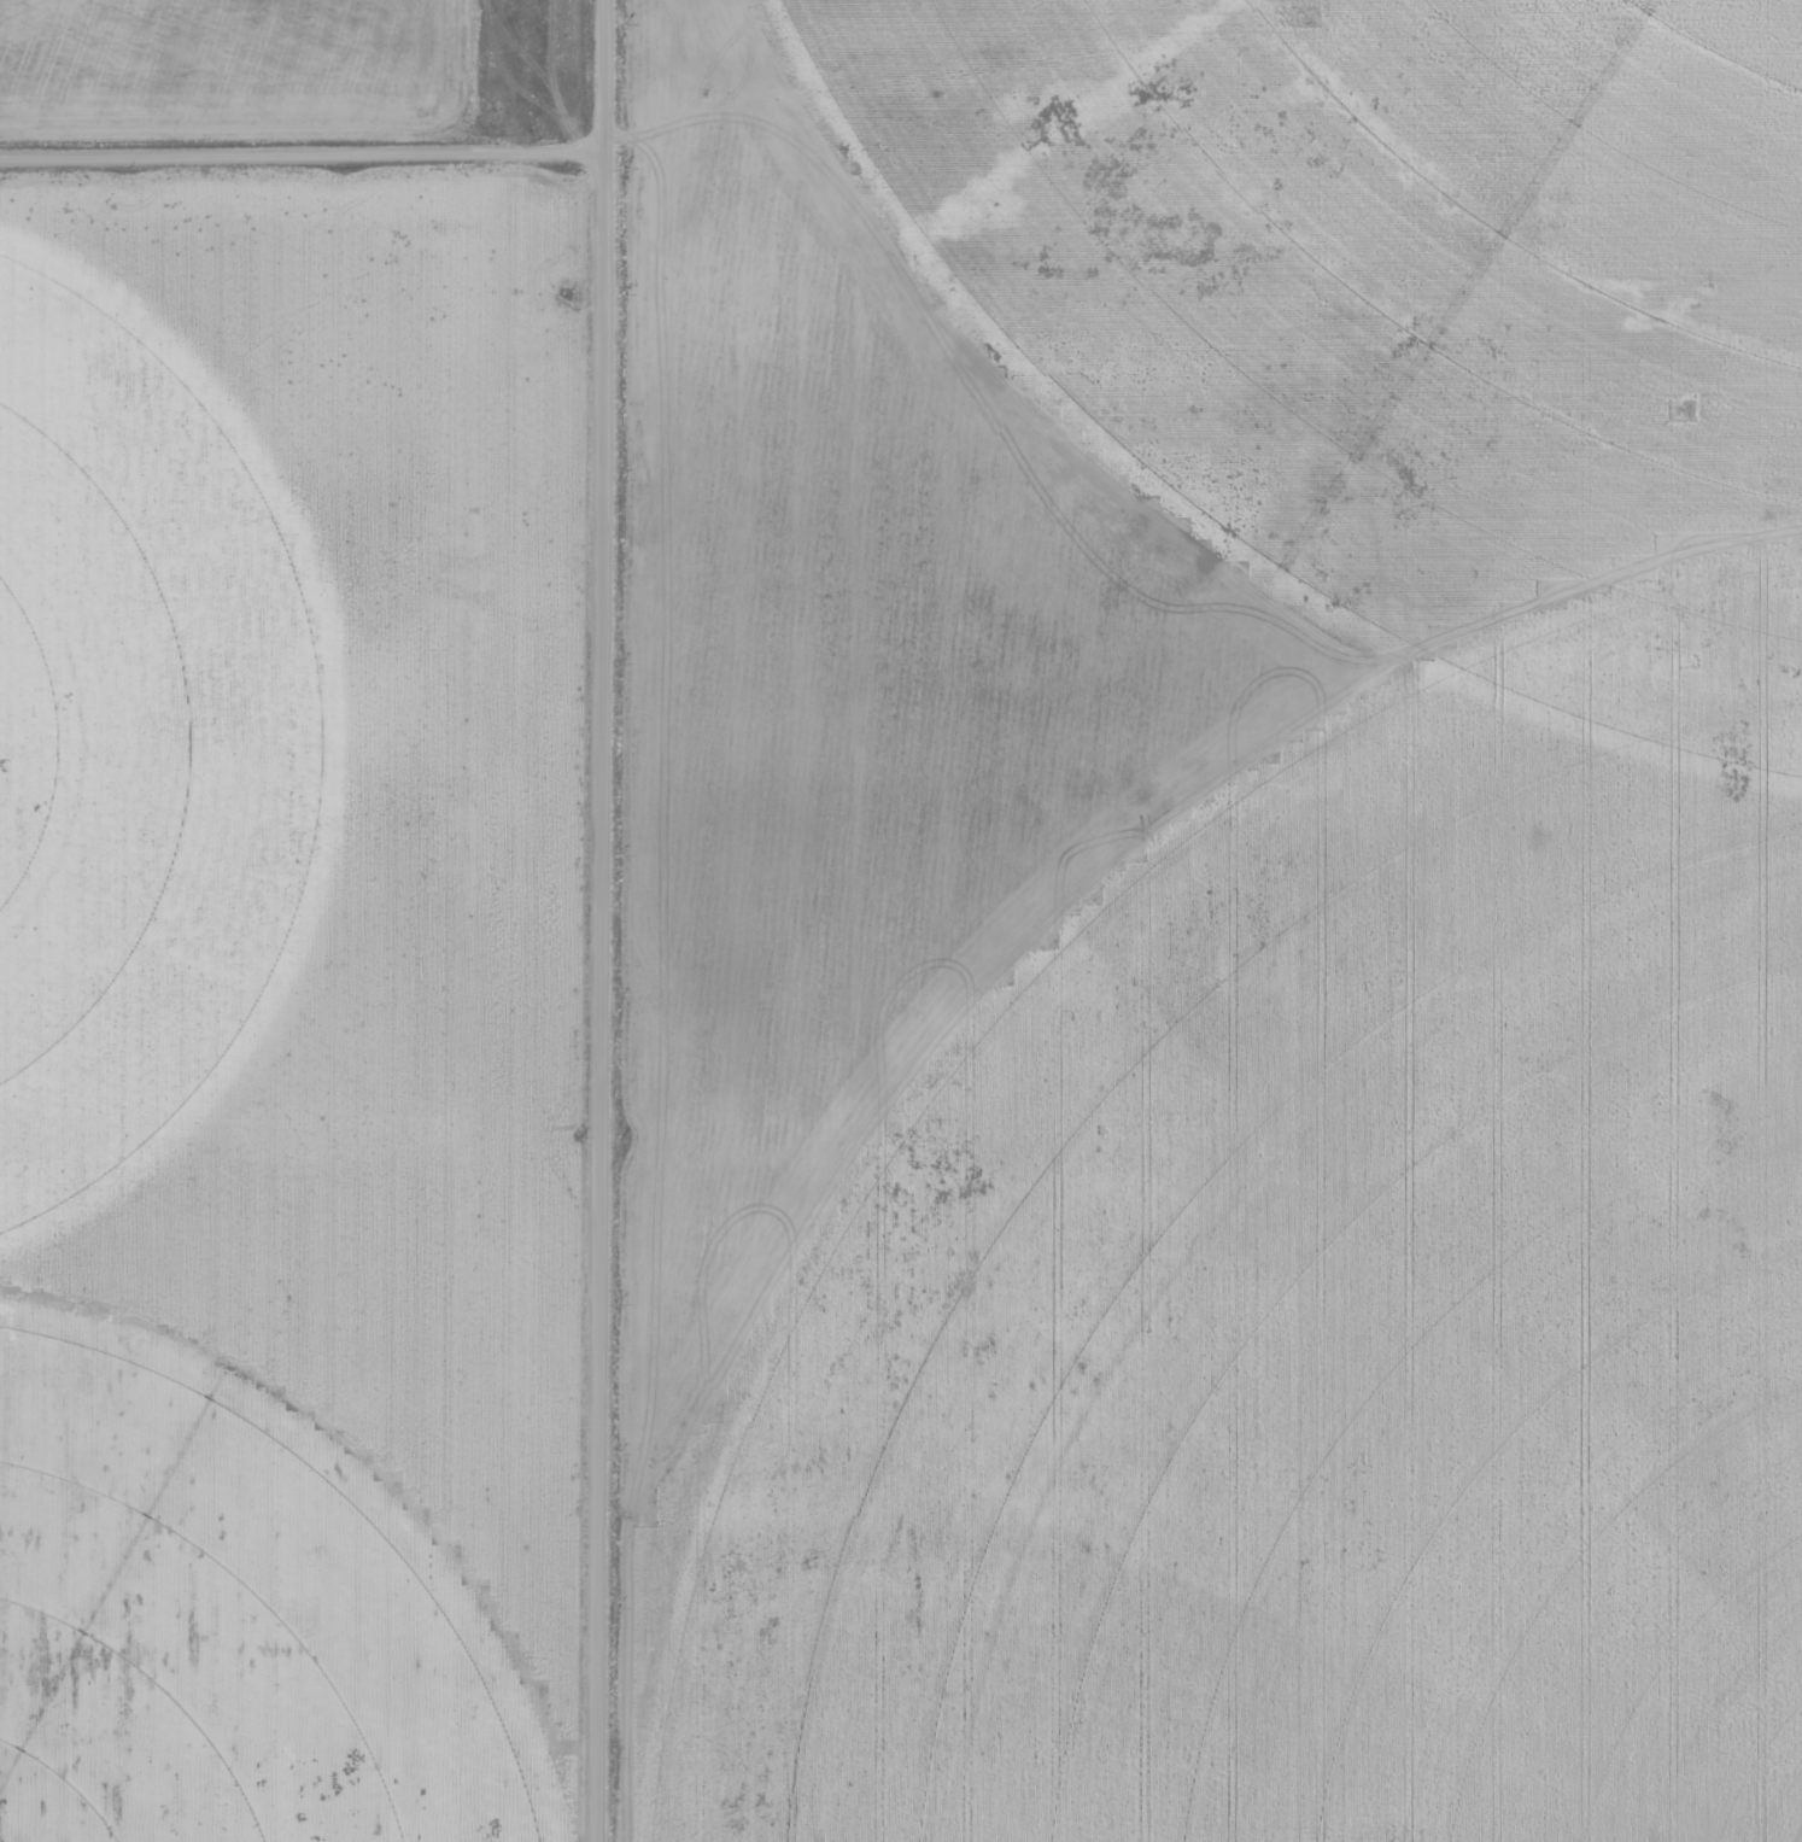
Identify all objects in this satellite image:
road: (291, 164)
road: (581, 920)
road: (291, 1138)

